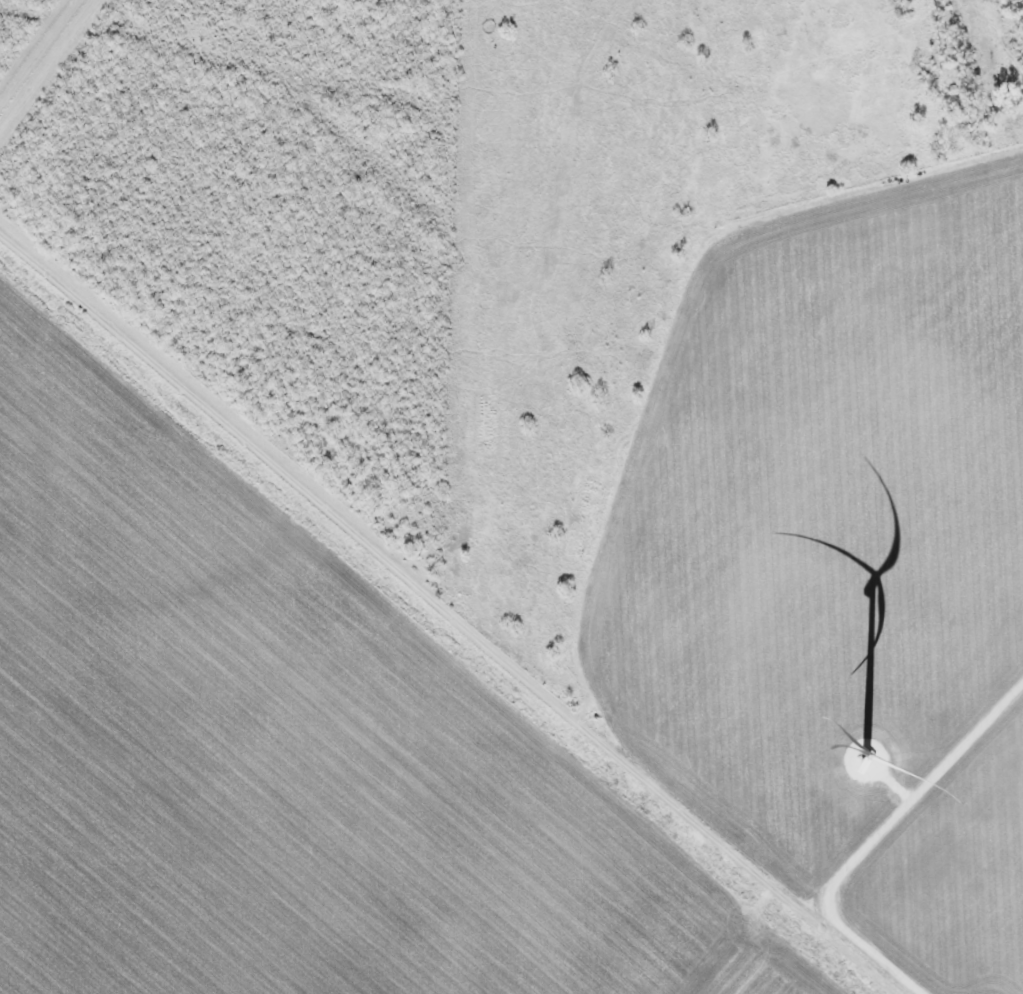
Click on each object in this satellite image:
wind turbine: (869, 749)

